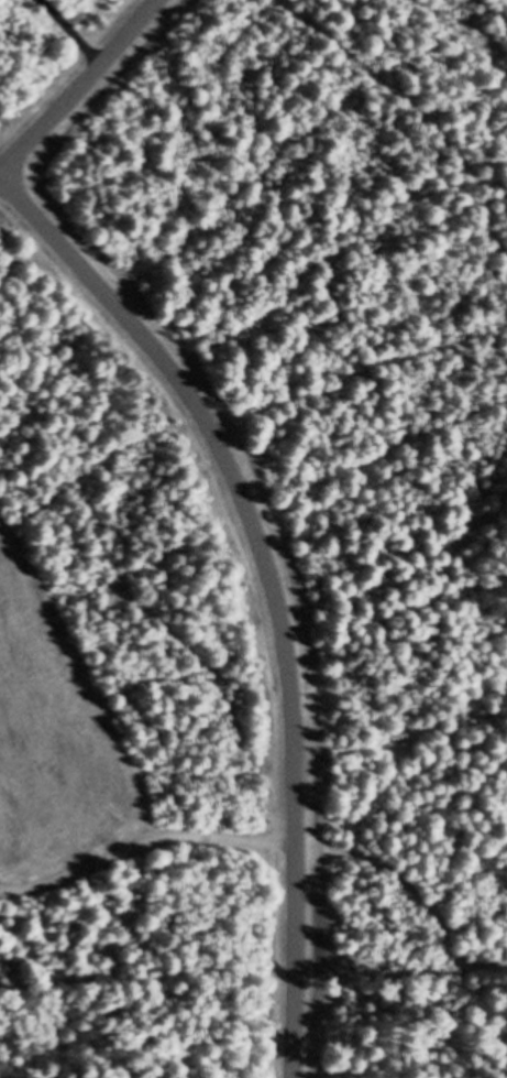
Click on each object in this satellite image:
road: (93, 95)
road: (276, 587)
road: (147, 854)

